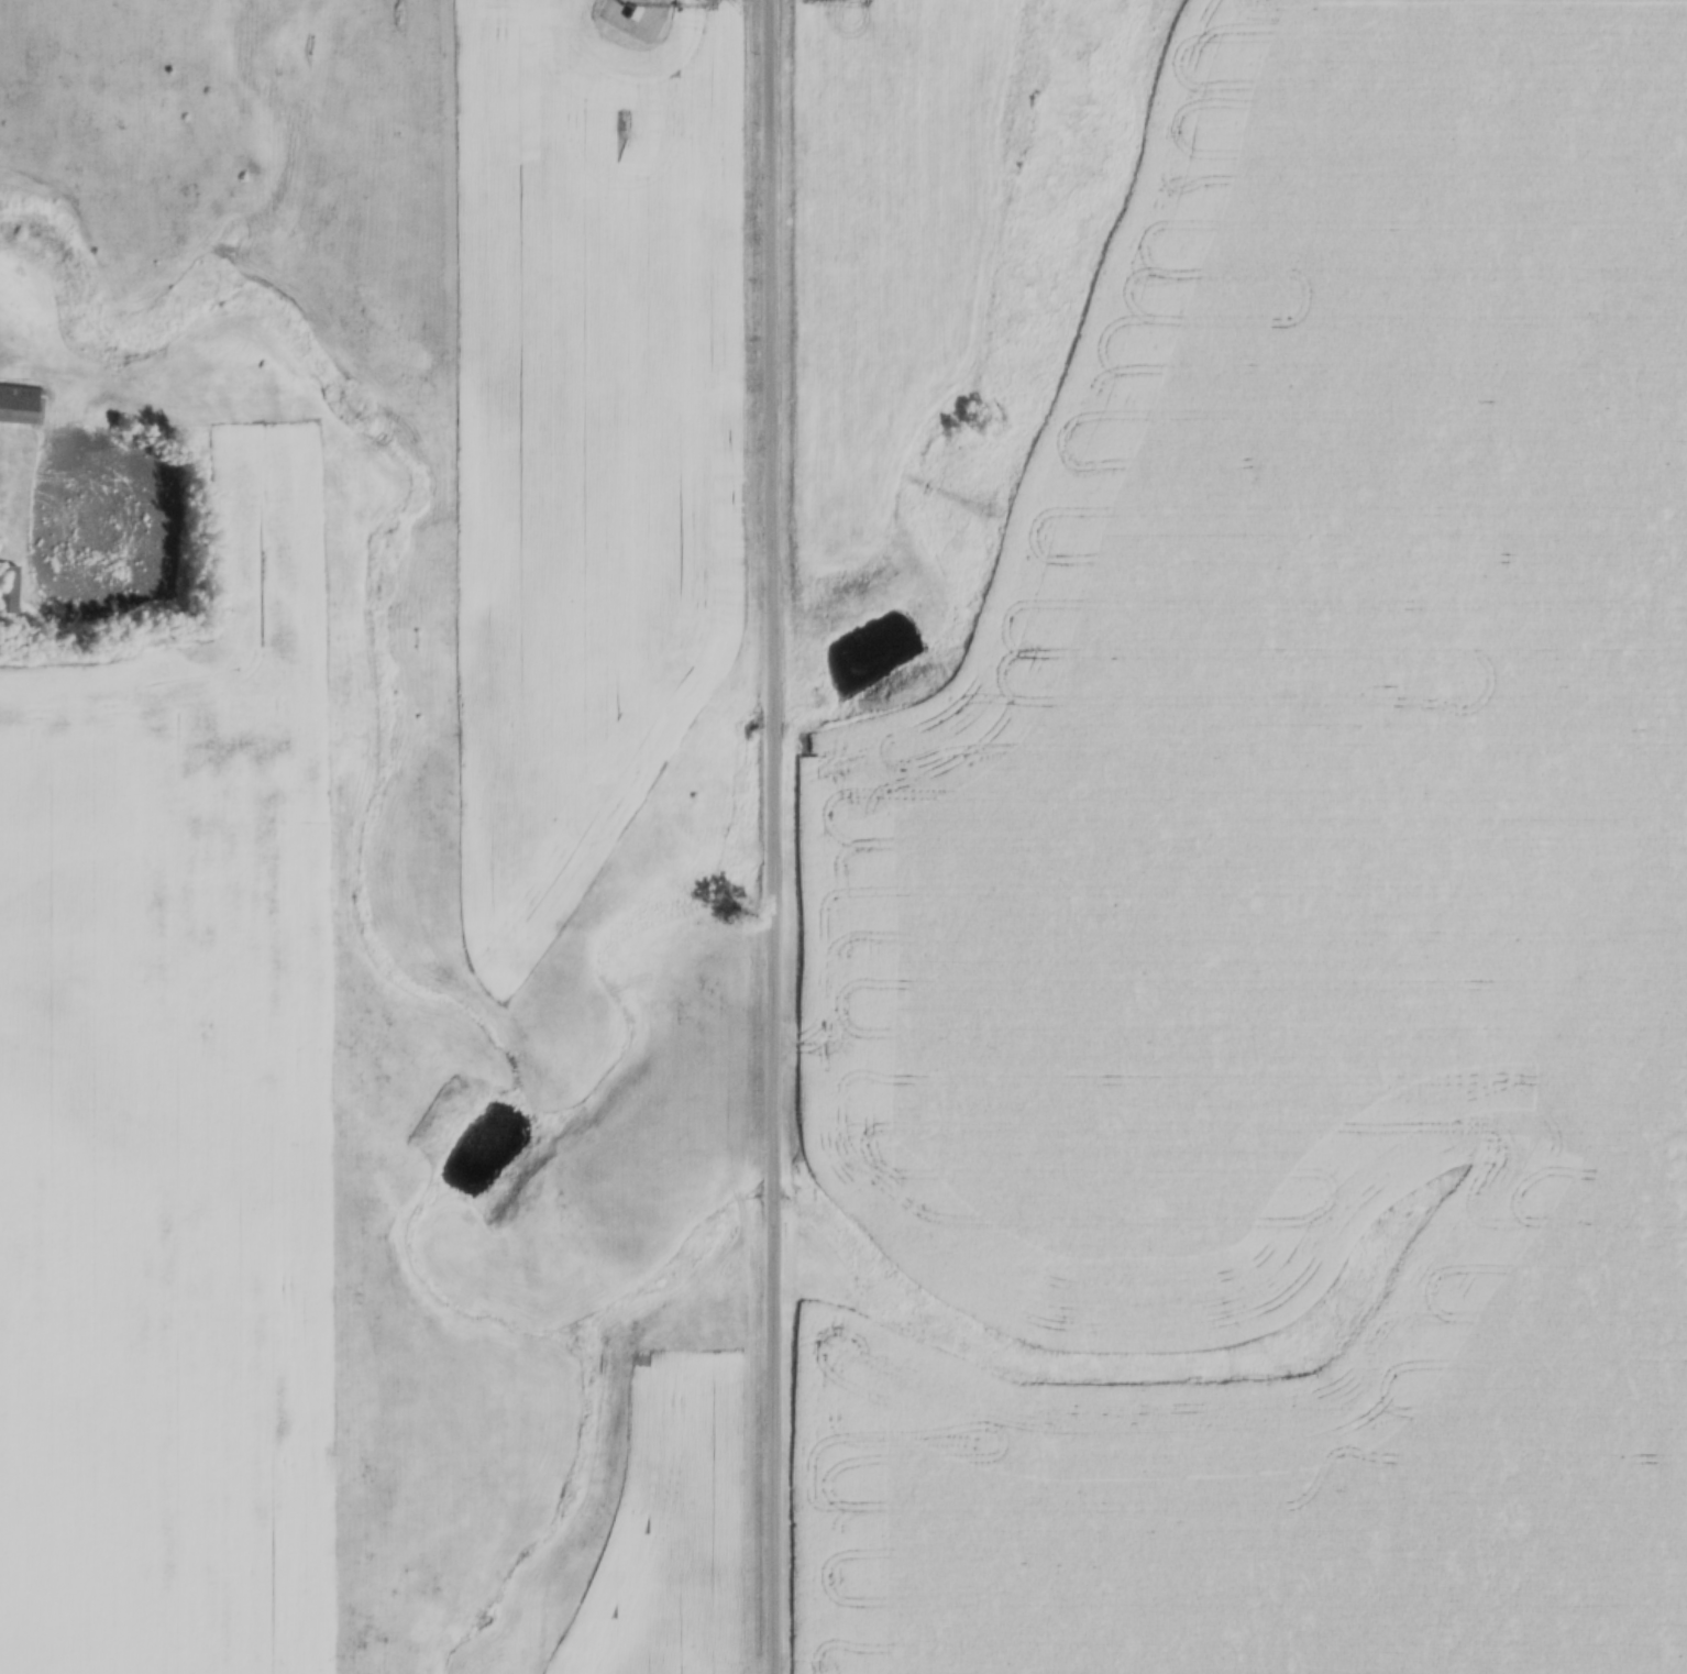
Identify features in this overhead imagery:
road: (665, 1)
road: (640, 26)
building: (21, 408)
building: (9, 592)
road: (773, 837)

